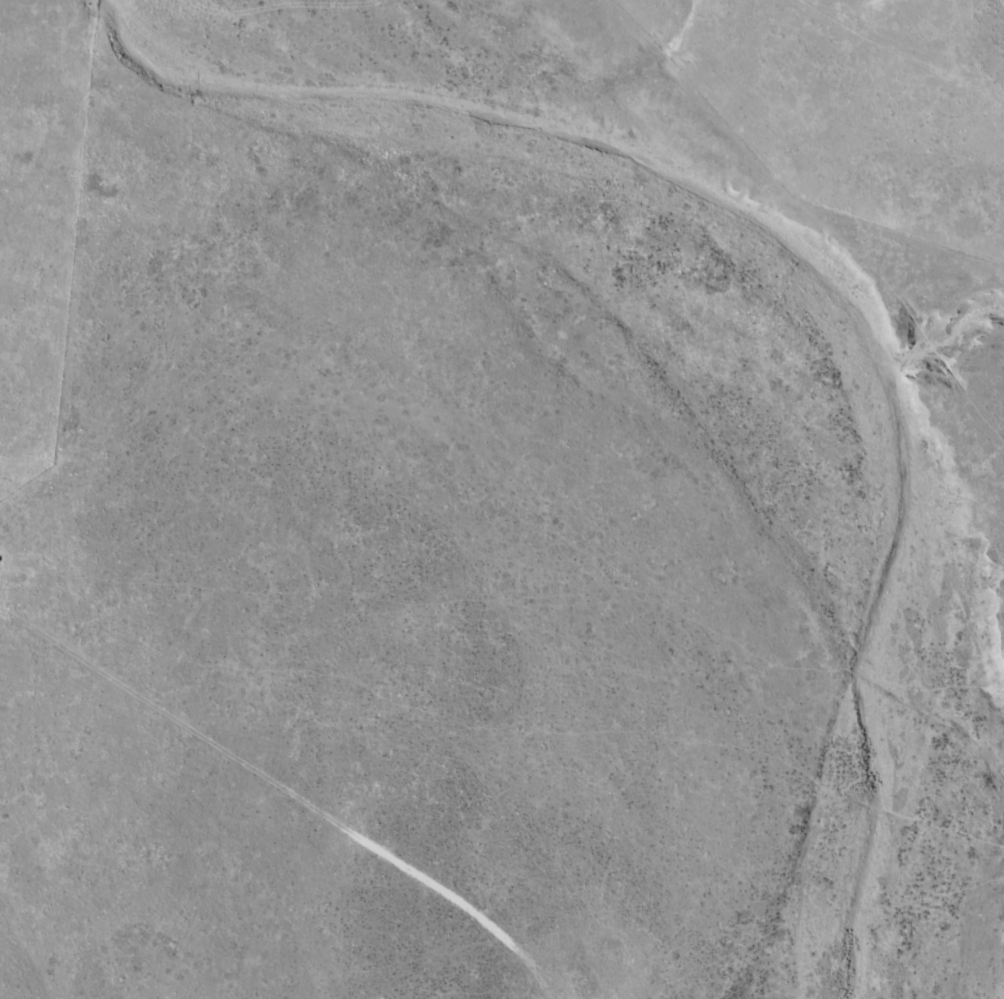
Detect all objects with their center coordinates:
road: (290, 792)

